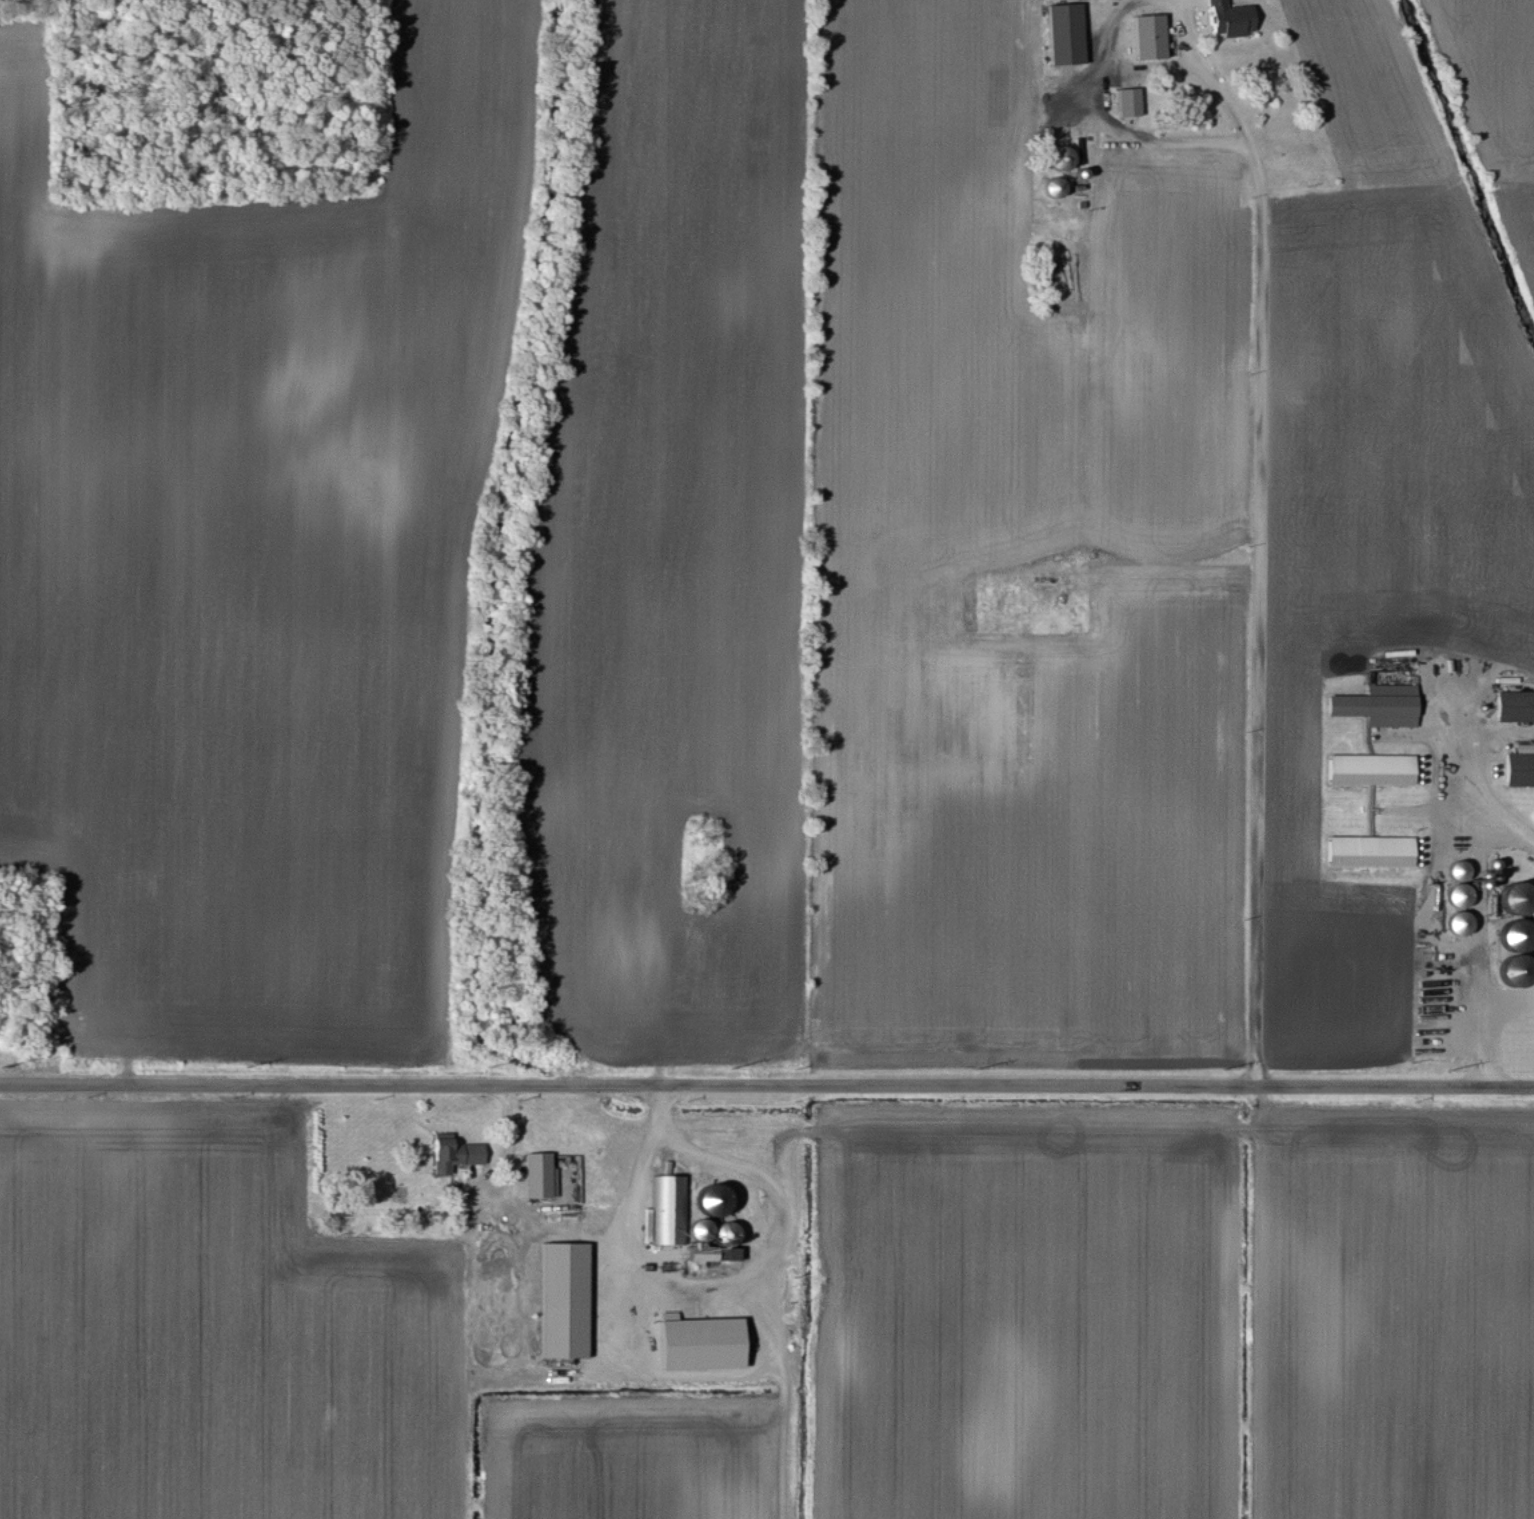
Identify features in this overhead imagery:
building: (1228, 20)
building: (1062, 35)
building: (1147, 38)
road: (1102, 83)
building: (1126, 104)
road: (1262, 562)
building: (1378, 707)
building: (1514, 708)
building: (1519, 768)
building: (1367, 771)
road: (1471, 807)
road: (1481, 1010)
road: (766, 1085)
road: (508, 1146)
building: (452, 1156)
building: (538, 1178)
building: (338, 1212)
building: (688, 1224)
building: (699, 1346)
road: (720, 1380)

